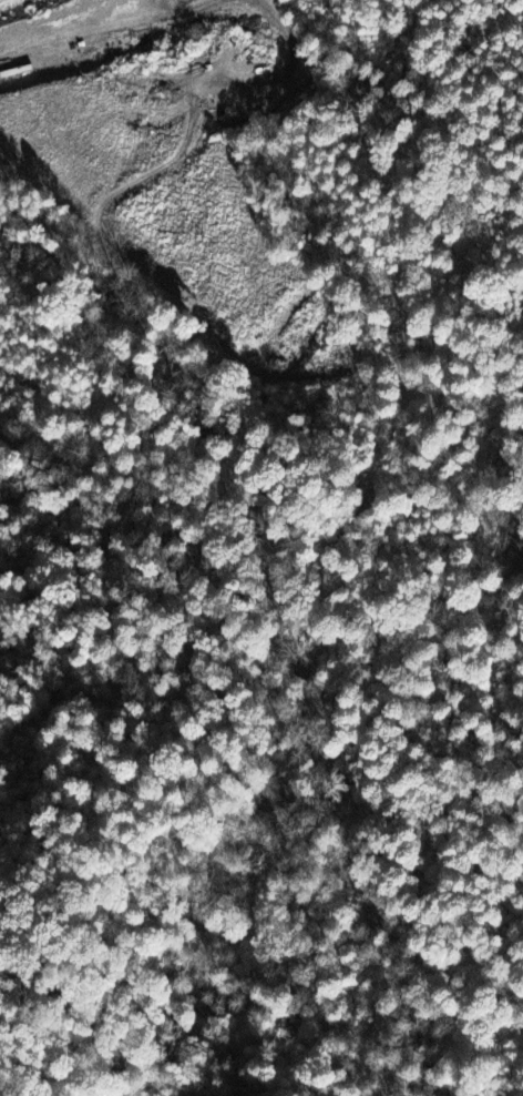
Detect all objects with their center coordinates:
road: (80, 29)

